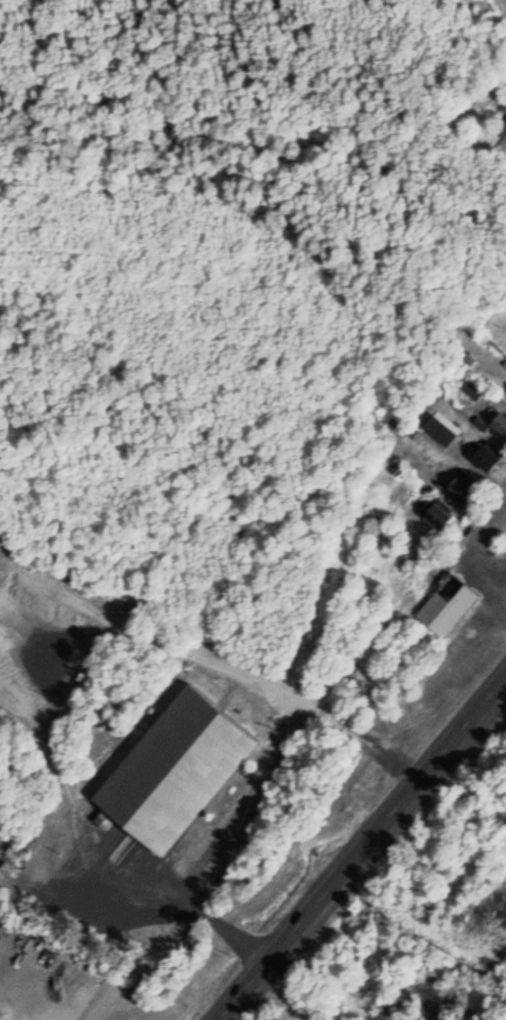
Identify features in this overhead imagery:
building: (504, 127)
building: (473, 388)
building: (500, 421)
building: (442, 430)
building: (490, 455)
building: (437, 512)
road: (486, 523)
building: (448, 605)
building: (175, 766)
road: (362, 848)

